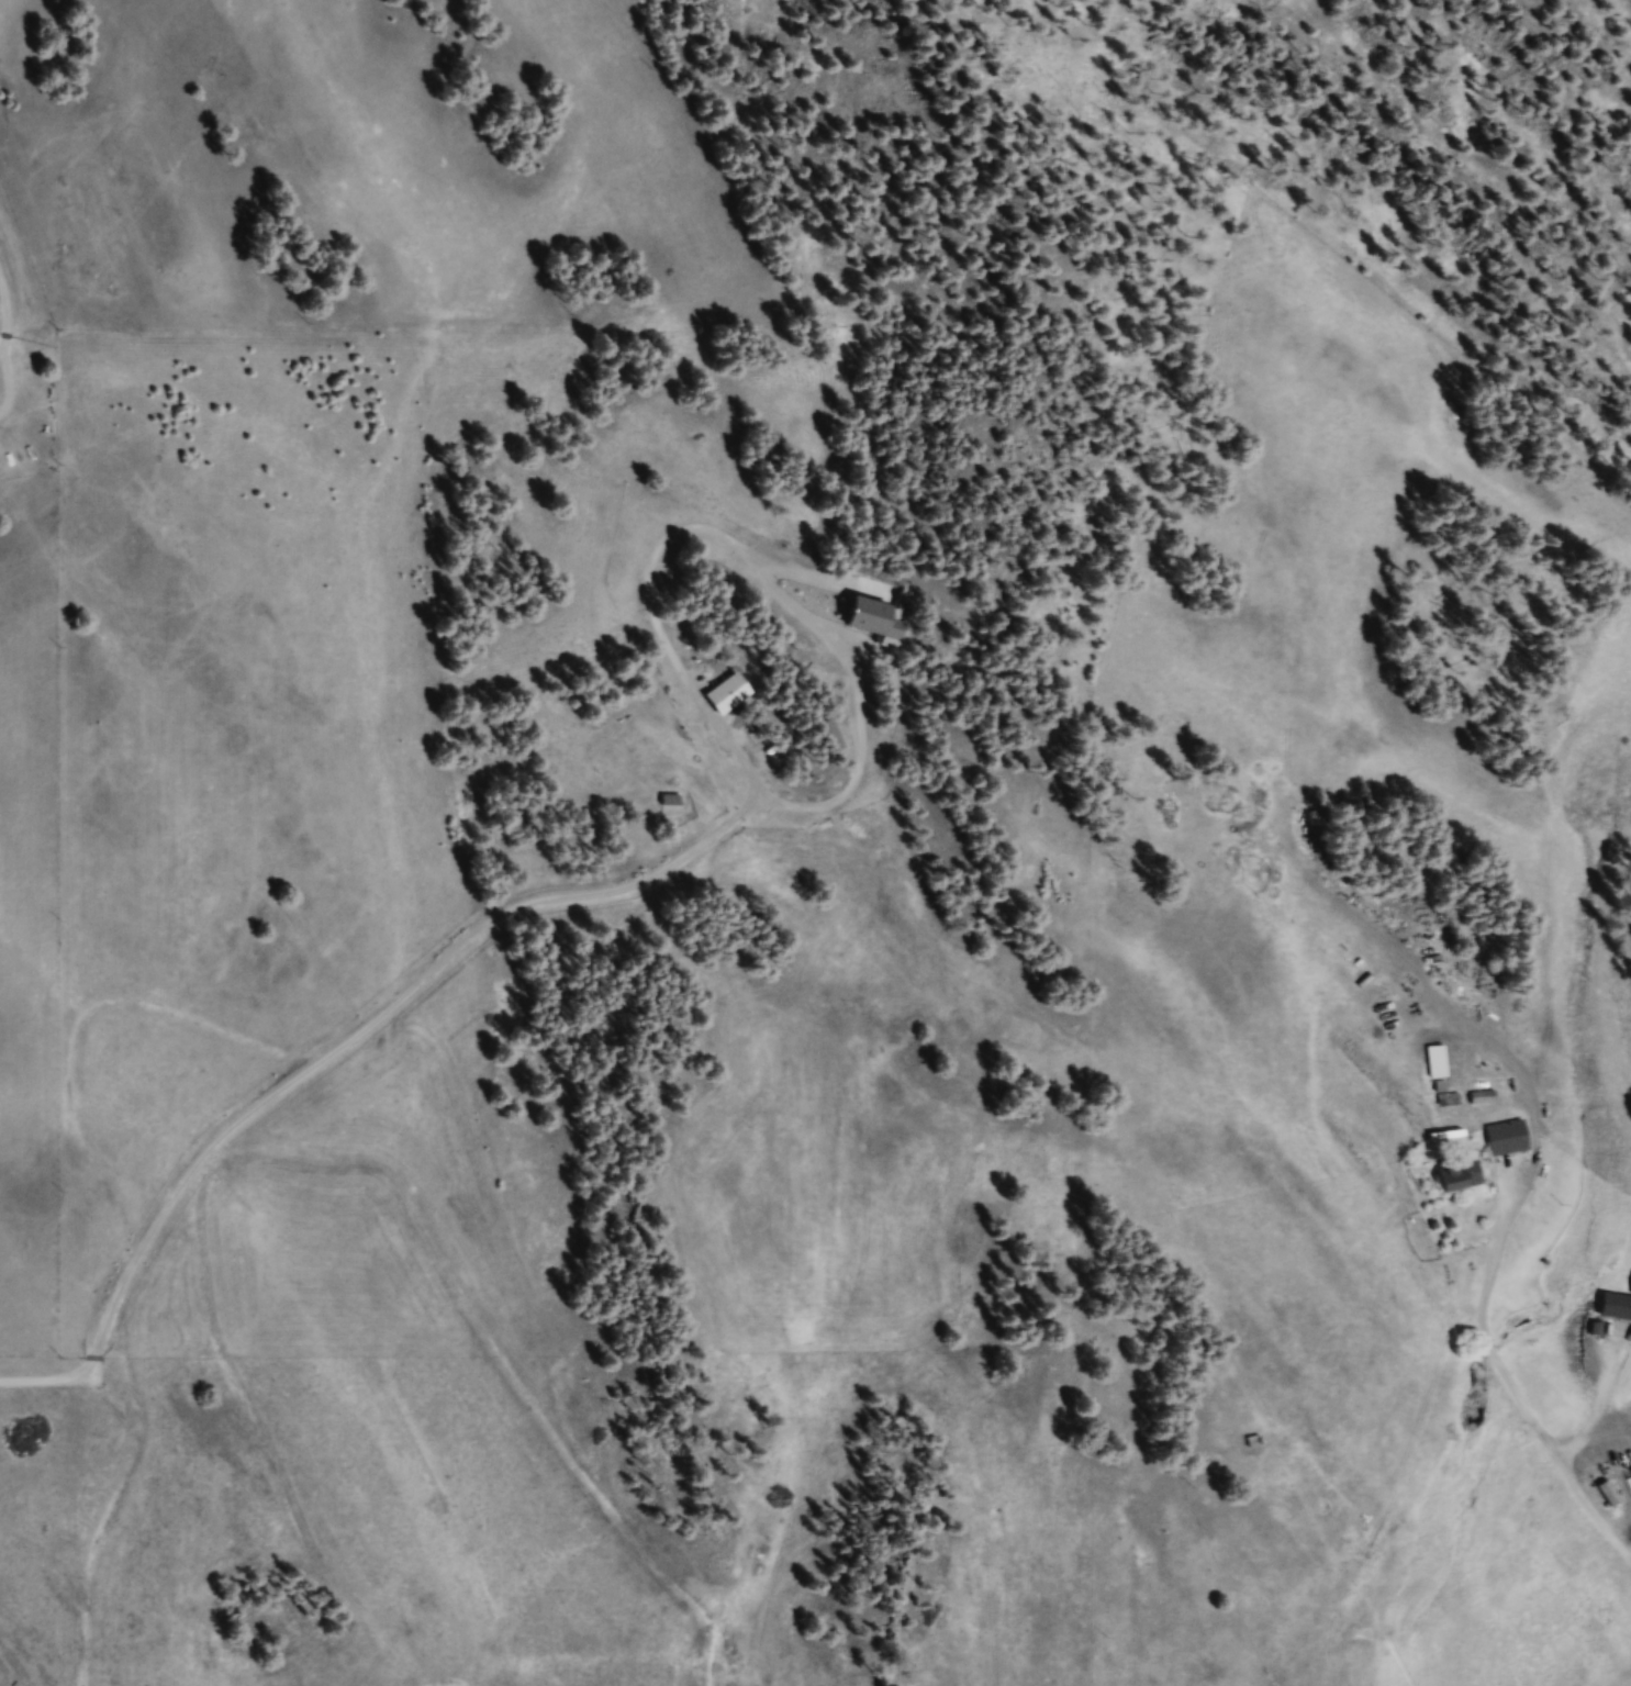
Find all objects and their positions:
building: (885, 635)
building: (1504, 1141)
building: (1452, 1180)
building: (1613, 1308)
building: (1579, 1376)
road: (1566, 1472)
building: (1607, 1495)

